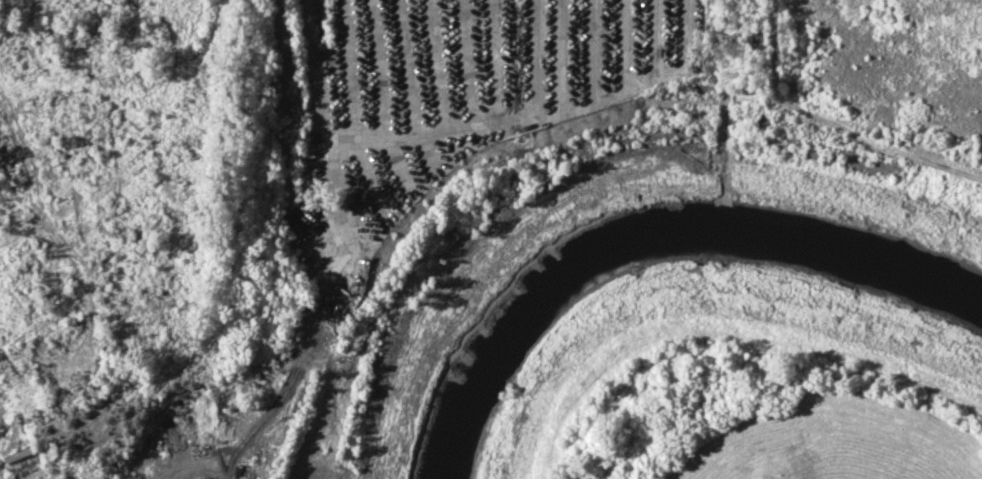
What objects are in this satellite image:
river: (652, 230)
road: (198, 463)

